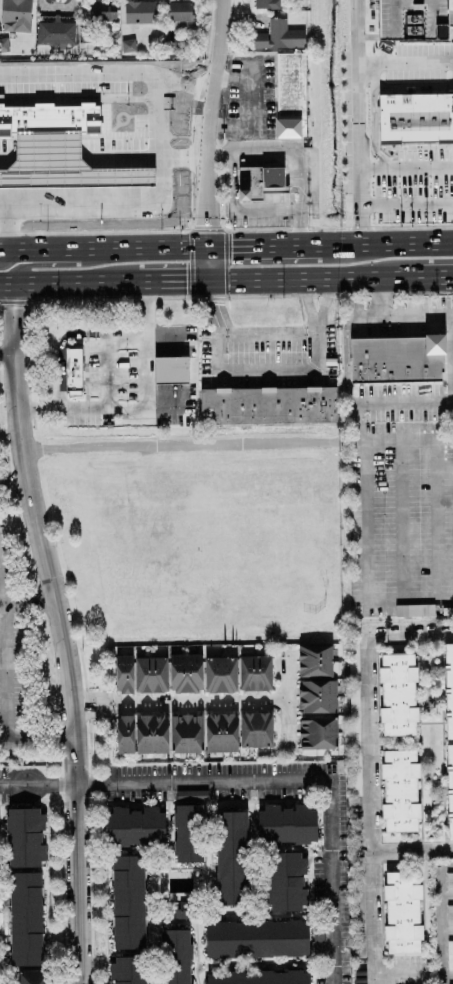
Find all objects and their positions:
building: (266, 4)
building: (102, 10)
building: (179, 10)
building: (140, 11)
building: (15, 15)
road: (448, 17)
building: (409, 20)
parking lot: (409, 20)
building: (181, 23)
building: (56, 31)
building: (278, 36)
building: (128, 45)
road: (404, 62)
road: (108, 71)
building: (289, 95)
road: (79, 100)
road: (248, 108)
building: (415, 118)
road: (355, 122)
road: (210, 139)
road: (230, 139)
road: (8, 152)
road: (143, 152)
road: (47, 153)
road: (299, 153)
road: (7, 160)
road: (87, 160)
road: (105, 160)
road: (121, 160)
road: (141, 160)
road: (404, 166)
road: (23, 169)
road: (38, 169)
road: (55, 169)
road: (71, 169)
road: (88, 175)
road: (141, 175)
road: (105, 176)
road: (121, 176)
road: (7, 177)
building: (258, 181)
road: (141, 193)
road: (71, 194)
road: (88, 194)
road: (105, 194)
road: (121, 194)
road: (7, 195)
road: (23, 195)
road: (38, 195)
road: (55, 195)
road: (144, 204)
road: (404, 204)
road: (239, 209)
traffic signals: (212, 222)
road: (7, 227)
road: (383, 244)
traffic signals: (233, 246)
road: (264, 246)
road: (106, 247)
road: (4, 258)
road: (44, 262)
road: (389, 262)
road: (333, 277)
road: (178, 280)
traffic signals: (184, 280)
road: (71, 281)
road: (340, 294)
traffic signals: (215, 302)
road: (325, 302)
road: (308, 306)
road: (216, 307)
road: (395, 314)
road: (270, 334)
road: (5, 350)
building: (396, 357)
building: (170, 369)
building: (72, 370)
road: (452, 399)
building: (267, 404)
road: (147, 409)
road: (352, 441)
road: (180, 445)
road: (446, 468)
road: (13, 482)
road: (402, 500)
road: (439, 500)
road: (365, 520)
road: (38, 534)
road: (408, 598)
road: (26, 602)
building: (414, 610)
road: (408, 631)
road: (12, 637)
building: (314, 660)
building: (185, 672)
building: (123, 673)
building: (254, 673)
building: (150, 674)
building: (219, 674)
road: (442, 676)
road: (417, 677)
building: (448, 690)
building: (397, 695)
building: (316, 696)
road: (54, 700)
road: (286, 701)
road: (177, 703)
building: (354, 704)
building: (255, 730)
building: (220, 732)
building: (151, 733)
building: (185, 733)
building: (317, 733)
building: (124, 734)
road: (442, 739)
road: (36, 741)
road: (392, 742)
road: (441, 742)
road: (447, 742)
road: (319, 782)
road: (95, 785)
road: (37, 786)
building: (448, 790)
building: (399, 792)
road: (443, 802)
parking lot: (372, 808)
road: (90, 816)
building: (286, 825)
building: (134, 826)
road: (365, 827)
building: (188, 833)
building: (24, 837)
road: (409, 847)
building: (232, 856)
road: (420, 863)
building: (287, 881)
building: (449, 881)
road: (76, 884)
building: (127, 903)
building: (358, 907)
building: (401, 912)
building: (449, 915)
building: (25, 918)
building: (256, 938)
building: (450, 954)
building: (175, 957)
building: (127, 970)
building: (32, 977)
building: (258, 978)

